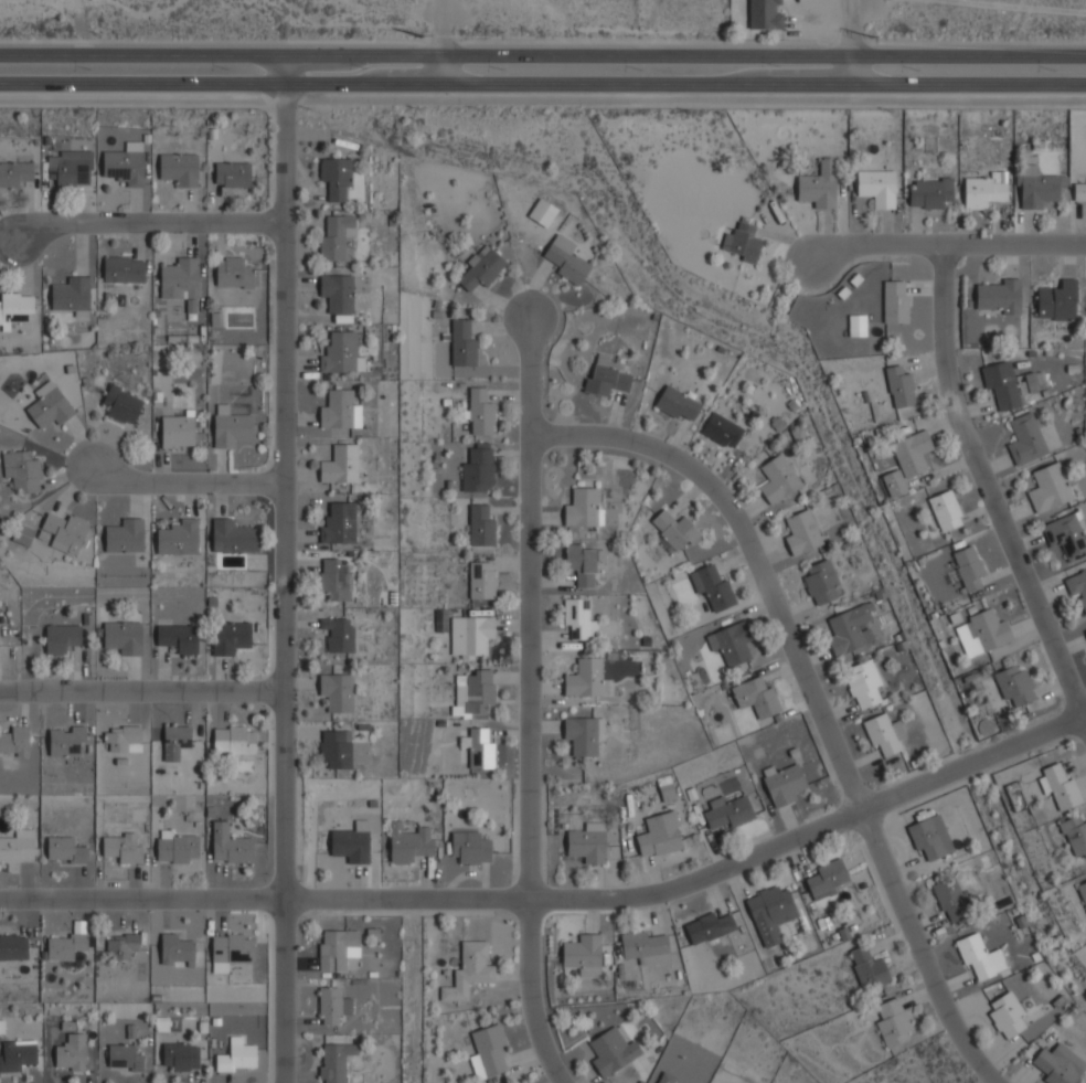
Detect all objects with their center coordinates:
building: (765, 13)
power tower: (419, 33)
power tower: (870, 36)
road: (446, 42)
road: (855, 42)
road: (543, 56)
road: (542, 85)
road: (542, 97)
building: (126, 163)
building: (179, 169)
building: (68, 170)
building: (17, 172)
building: (232, 174)
building: (336, 178)
building: (819, 187)
building: (876, 188)
building: (1035, 188)
building: (984, 191)
building: (1079, 192)
building: (929, 193)
building: (542, 213)
road: (149, 223)
building: (336, 237)
building: (742, 243)
road: (949, 244)
building: (565, 259)
building: (124, 267)
building: (481, 268)
building: (233, 272)
building: (181, 278)
building: (72, 294)
building: (338, 294)
building: (1000, 296)
building: (1057, 300)
building: (895, 302)
building: (15, 307)
building: (856, 326)
building: (462, 344)
building: (341, 354)
building: (605, 379)
building: (1002, 384)
building: (899, 387)
building: (121, 404)
building: (677, 404)
building: (50, 405)
building: (339, 411)
building: (480, 413)
building: (230, 426)
building: (178, 429)
building: (722, 431)
building: (1026, 439)
building: (912, 454)
building: (340, 465)
building: (22, 470)
building: (477, 471)
building: (778, 479)
building: (894, 484)
road: (182, 485)
building: (1050, 487)
road: (988, 489)
building: (584, 507)
building: (945, 511)
building: (339, 524)
building: (480, 527)
building: (63, 531)
building: (673, 531)
building: (801, 533)
building: (125, 534)
building: (22, 535)
building: (232, 535)
building: (1066, 535)
building: (178, 537)
building: (585, 563)
building: (968, 567)
road: (283, 570)
building: (334, 580)
building: (481, 581)
building: (820, 582)
building: (1077, 585)
building: (713, 586)
building: (578, 619)
building: (850, 630)
building: (1085, 631)
building: (982, 634)
building: (338, 635)
building: (123, 636)
building: (470, 636)
building: (61, 637)
building: (178, 637)
building: (230, 637)
building: (732, 643)
building: (586, 678)
building: (863, 684)
building: (1014, 686)
building: (337, 692)
road: (815, 692)
road: (141, 693)
building: (473, 693)
building: (757, 696)
road: (529, 705)
building: (583, 734)
building: (884, 734)
building: (119, 736)
building: (177, 736)
building: (14, 740)
building: (234, 740)
building: (66, 741)
building: (478, 748)
building: (336, 750)
building: (784, 782)
building: (1057, 785)
building: (667, 789)
building: (728, 813)
building: (660, 835)
building: (1075, 837)
building: (927, 841)
building: (588, 842)
building: (408, 843)
building: (230, 845)
building: (18, 846)
building: (350, 846)
building: (123, 847)
building: (177, 847)
building: (470, 848)
building: (64, 849)
building: (826, 879)
building: (1083, 892)
road: (561, 899)
building: (950, 900)
building: (769, 913)
building: (711, 926)
building: (64, 945)
building: (121, 945)
building: (641, 945)
building: (13, 947)
building: (338, 948)
building: (230, 949)
building: (174, 951)
building: (583, 955)
building: (979, 957)
building: (867, 967)
building: (469, 973)
building: (332, 1005)
building: (1007, 1015)
building: (892, 1021)
building: (488, 1051)
building: (611, 1051)
building: (71, 1053)
building: (17, 1054)
building: (236, 1055)
building: (180, 1057)
building: (124, 1058)
building: (333, 1061)
building: (1057, 1064)
building: (663, 1077)

